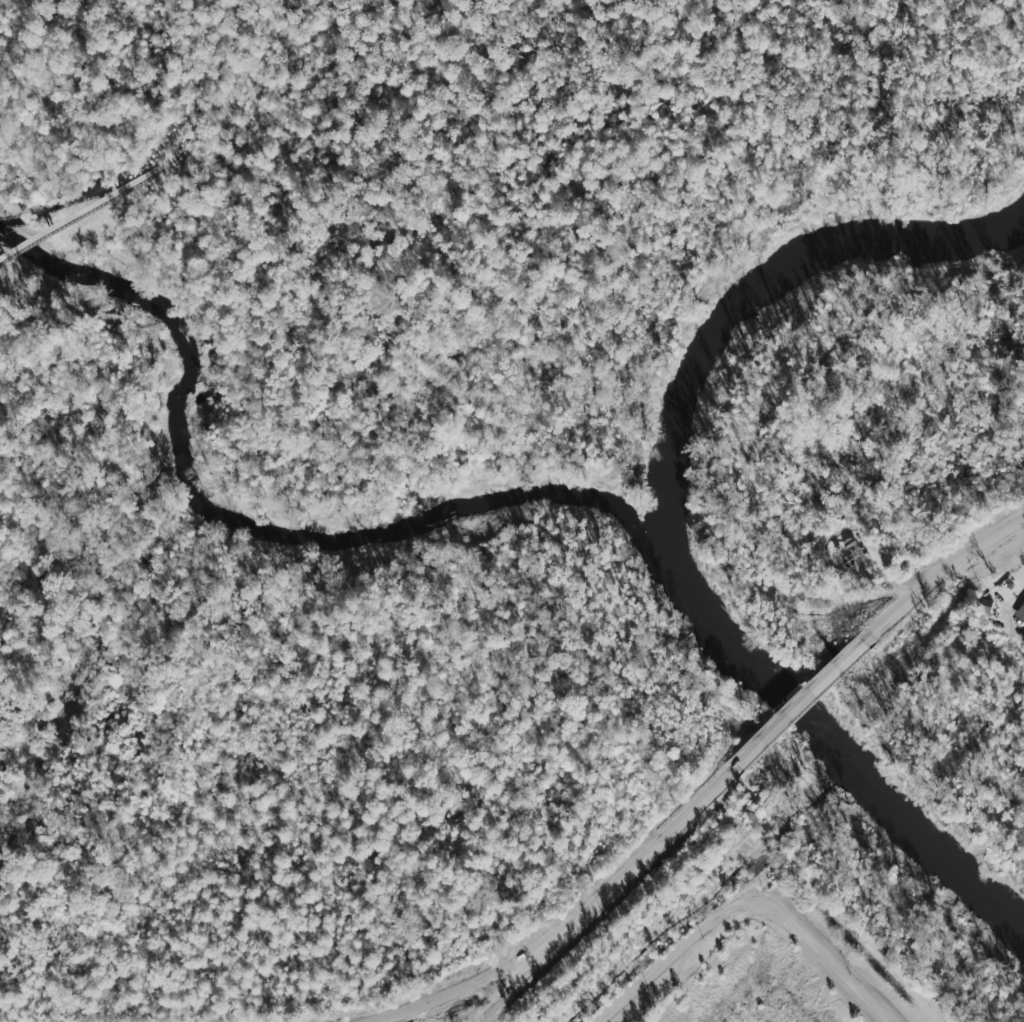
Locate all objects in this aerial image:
road: (413, 15)
road: (246, 76)
road: (80, 212)
park: (391, 444)
river: (666, 522)
river: (276, 538)
road: (942, 570)
building: (1020, 613)
road: (836, 668)
road: (733, 769)
road: (611, 889)
road: (746, 896)
road: (514, 981)
road: (469, 985)
road: (471, 1021)

